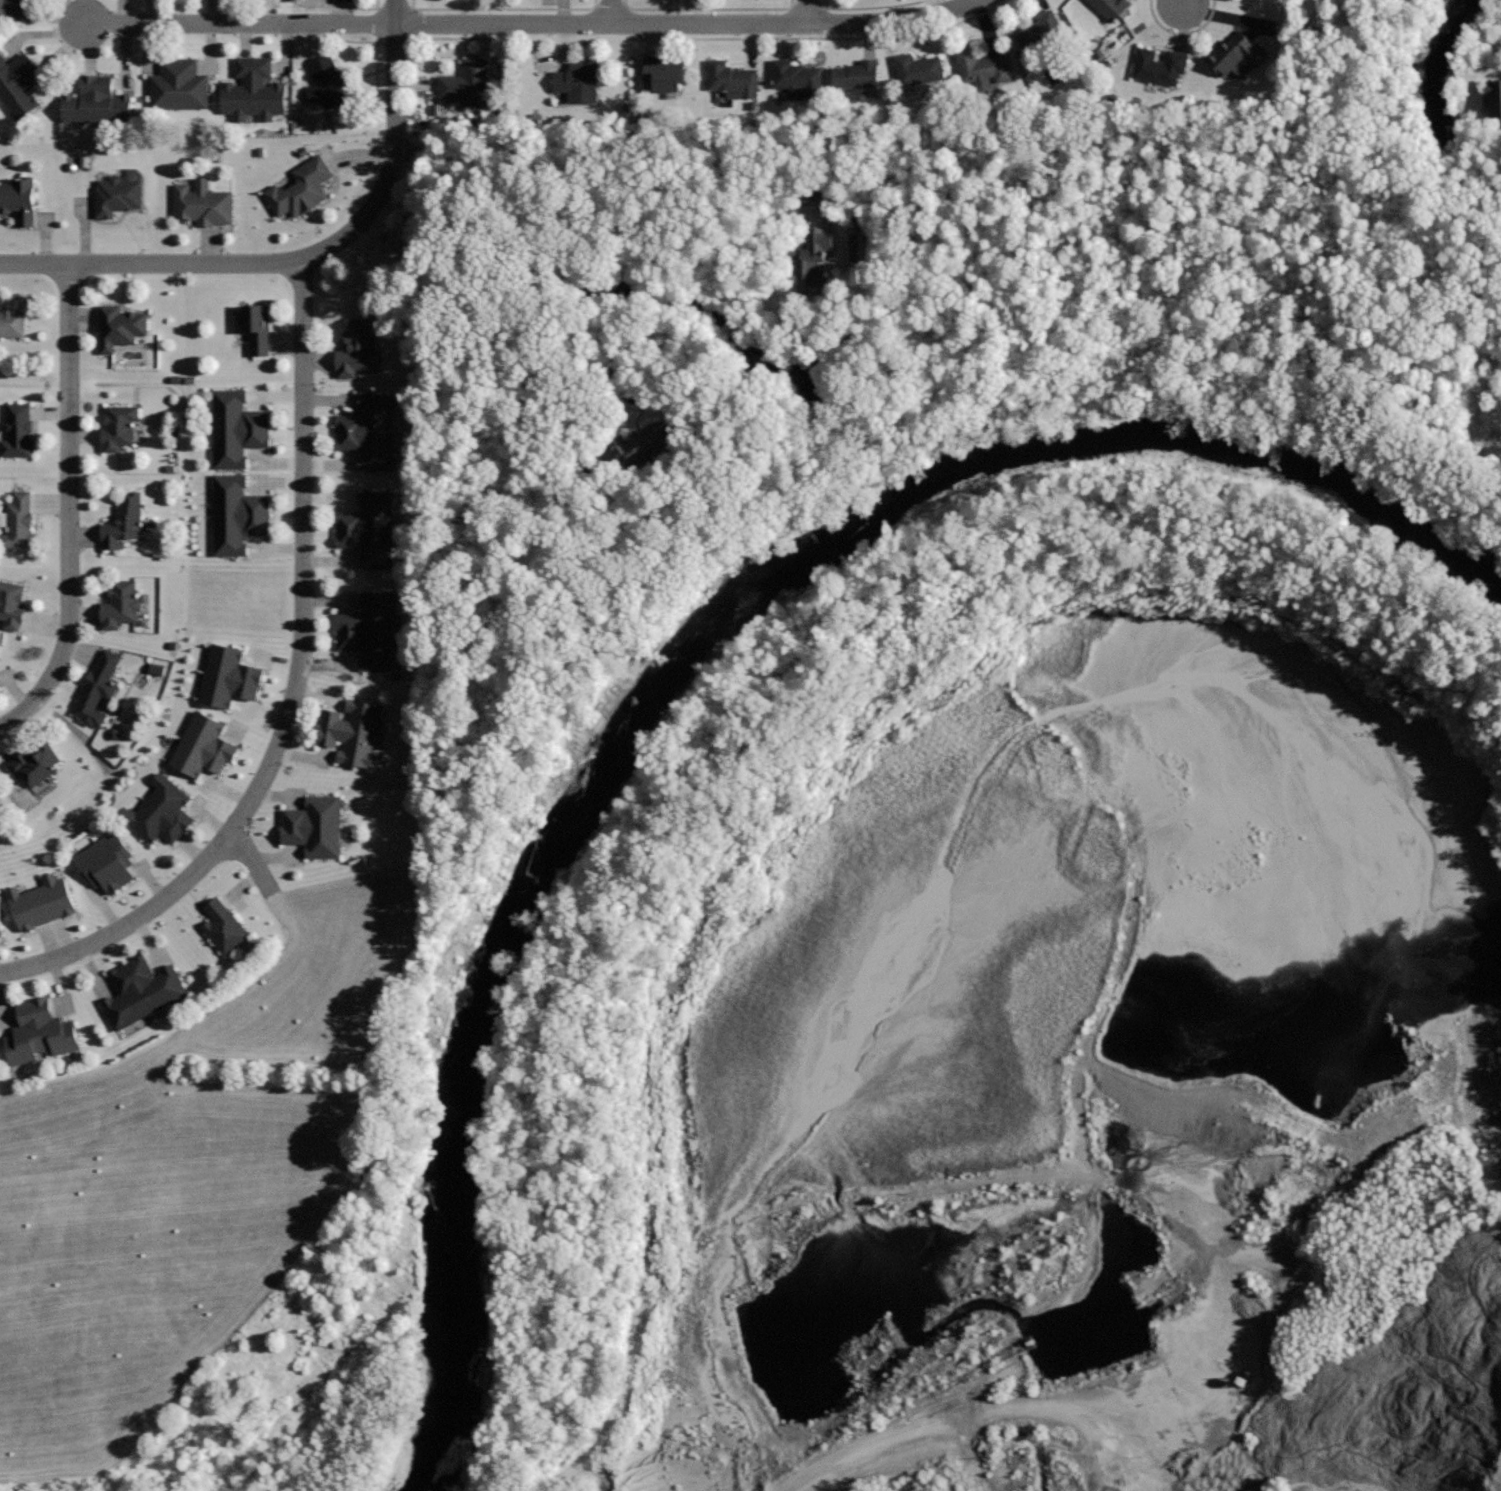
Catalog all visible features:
building: (301, 0)
road: (1183, 1)
road: (872, 7)
building: (15, 8)
building: (1110, 8)
road: (346, 9)
road: (503, 9)
road: (709, 9)
road: (611, 12)
road: (808, 12)
road: (242, 24)
road: (687, 24)
building: (1039, 30)
road: (1183, 34)
road: (678, 39)
road: (376, 40)
building: (1235, 54)
building: (1158, 65)
building: (981, 67)
building: (917, 68)
building: (662, 72)
building: (856, 73)
building: (799, 76)
building: (731, 79)
building: (327, 81)
building: (577, 81)
building: (467, 82)
building: (19, 83)
building: (179, 84)
building: (254, 90)
building: (1495, 97)
building: (96, 101)
building: (300, 188)
building: (116, 195)
building: (816, 195)
building: (19, 198)
building: (202, 202)
road: (649, 221)
road: (301, 258)
building: (819, 263)
road: (759, 273)
building: (13, 322)
building: (120, 326)
building: (256, 327)
road: (511, 332)
building: (356, 347)
road: (668, 385)
building: (119, 426)
building: (236, 427)
building: (18, 431)
building: (368, 431)
building: (643, 447)
road: (69, 507)
building: (237, 514)
building: (18, 521)
building: (124, 521)
building: (367, 529)
building: (11, 603)
building: (121, 603)
building: (368, 629)
building: (160, 669)
river: (710, 674)
building: (228, 676)
building: (98, 690)
road: (293, 690)
building: (352, 731)
building: (204, 745)
building: (36, 761)
building: (160, 810)
building: (315, 825)
building: (106, 861)
road: (252, 863)
building: (41, 902)
building: (224, 926)
building: (1, 928)
building: (141, 992)
quarry: (1019, 1028)
building: (40, 1031)
road: (621, 1375)
road: (938, 1423)

